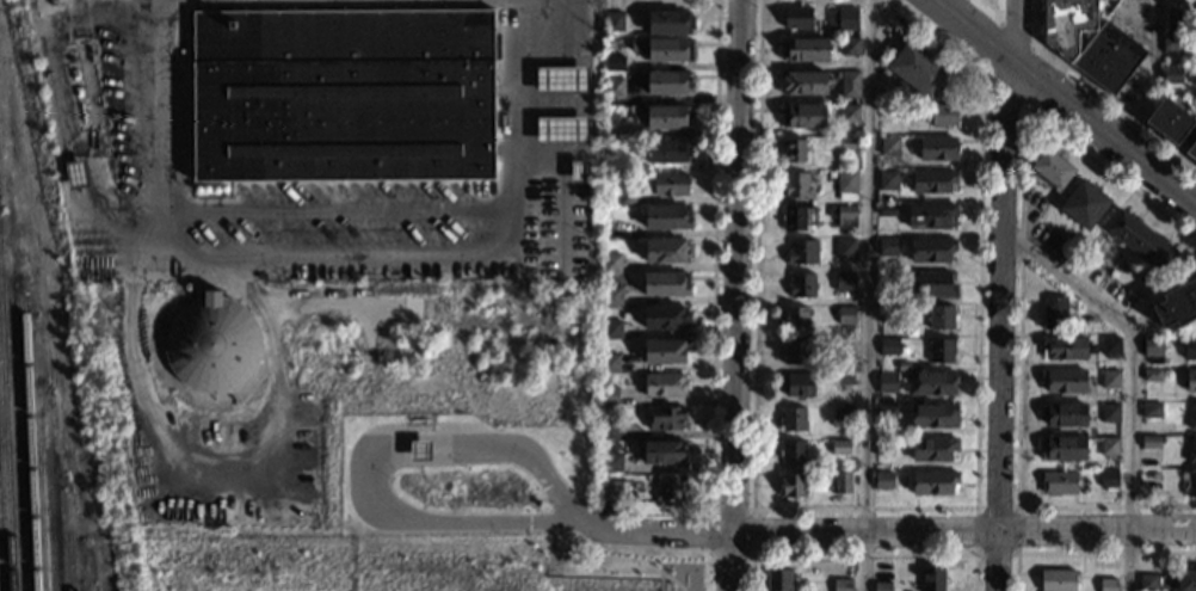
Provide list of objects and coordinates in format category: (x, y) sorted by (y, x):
road: (993, 4)
road: (614, 6)
road: (993, 8)
building: (795, 18)
building: (1170, 18)
building: (841, 19)
building: (614, 20)
building: (666, 23)
building: (1065, 24)
road: (1015, 35)
road: (935, 36)
building: (1170, 43)
road: (1035, 45)
building: (1195, 45)
building: (849, 47)
road: (991, 48)
building: (661, 49)
building: (803, 50)
building: (1106, 60)
building: (612, 61)
building: (917, 70)
building: (1170, 74)
road: (1027, 76)
road: (1154, 76)
building: (1195, 79)
building: (560, 81)
building: (667, 84)
building: (849, 84)
building: (803, 85)
building: (612, 87)
road: (1003, 90)
road: (1099, 93)
building: (341, 94)
road: (1064, 101)
road: (57, 110)
building: (894, 110)
building: (847, 113)
building: (941, 115)
building: (611, 116)
building: (659, 116)
building: (802, 116)
building: (1169, 121)
building: (560, 131)
road: (74, 143)
building: (847, 144)
building: (887, 146)
building: (936, 148)
building: (665, 150)
building: (793, 150)
building: (1191, 150)
building: (1049, 168)
building: (575, 172)
road: (1110, 173)
building: (76, 174)
building: (884, 180)
building: (931, 181)
building: (667, 184)
building: (794, 185)
building: (845, 185)
road: (562, 186)
building: (623, 199)
building: (1080, 203)
building: (884, 210)
road: (340, 211)
building: (843, 215)
building: (929, 215)
building: (665, 217)
building: (797, 218)
building: (1139, 240)
building: (884, 246)
road: (137, 248)
building: (844, 248)
building: (664, 251)
building: (929, 251)
building: (800, 252)
road: (713, 254)
road: (756, 254)
road: (343, 256)
building: (609, 263)
building: (844, 281)
building: (887, 281)
building: (662, 284)
building: (931, 284)
building: (800, 285)
building: (1136, 289)
road: (999, 294)
road: (733, 295)
road: (867, 295)
building: (610, 296)
building: (1177, 304)
building: (830, 310)
building: (887, 313)
building: (1053, 313)
building: (845, 315)
building: (662, 318)
building: (938, 318)
building: (795, 319)
building: (1090, 328)
building: (610, 330)
building: (212, 343)
building: (841, 345)
building: (886, 346)
building: (1109, 346)
building: (1061, 347)
building: (1188, 347)
building: (1151, 350)
building: (664, 351)
building: (904, 351)
building: (938, 351)
building: (795, 352)
road: (1019, 362)
building: (608, 364)
building: (901, 367)
building: (1149, 375)
building: (841, 378)
building: (1109, 378)
building: (603, 380)
building: (1062, 381)
road: (1134, 381)
building: (1189, 381)
building: (886, 383)
building: (930, 383)
building: (661, 386)
building: (796, 386)
building: (606, 396)
road: (976, 400)
building: (1148, 411)
building: (1108, 413)
building: (841, 414)
building: (1062, 414)
building: (884, 415)
building: (932, 417)
building: (662, 418)
building: (1191, 418)
building: (791, 420)
building: (844, 429)
building: (605, 430)
railway: (6, 435)
road: (393, 441)
building: (1148, 442)
railway: (29, 445)
building: (1109, 447)
building: (838, 448)
building: (882, 448)
building: (1061, 449)
building: (419, 450)
gas station: (419, 450)
building: (931, 450)
building: (1191, 451)
building: (661, 453)
building: (791, 454)
building: (605, 463)
road: (232, 476)
building: (1106, 479)
building: (882, 481)
building: (839, 482)
building: (931, 482)
building: (1056, 484)
building: (1190, 484)
building: (667, 487)
building: (790, 487)
road: (555, 488)
building: (610, 491)
road: (1163, 504)
railway: (44, 507)
road: (511, 523)
road: (892, 531)
road: (1086, 552)
road: (1017, 553)
road: (864, 554)
road: (751, 555)
railway: (68, 558)
railway: (56, 562)
road: (679, 562)
road: (625, 568)
road: (705, 570)
road: (545, 577)
building: (779, 579)
building: (931, 579)
building: (1056, 579)
building: (1185, 579)
building: (1146, 583)
building: (1106, 584)
railway: (0, 585)
building: (841, 585)
building: (881, 586)
railway: (94, 589)

